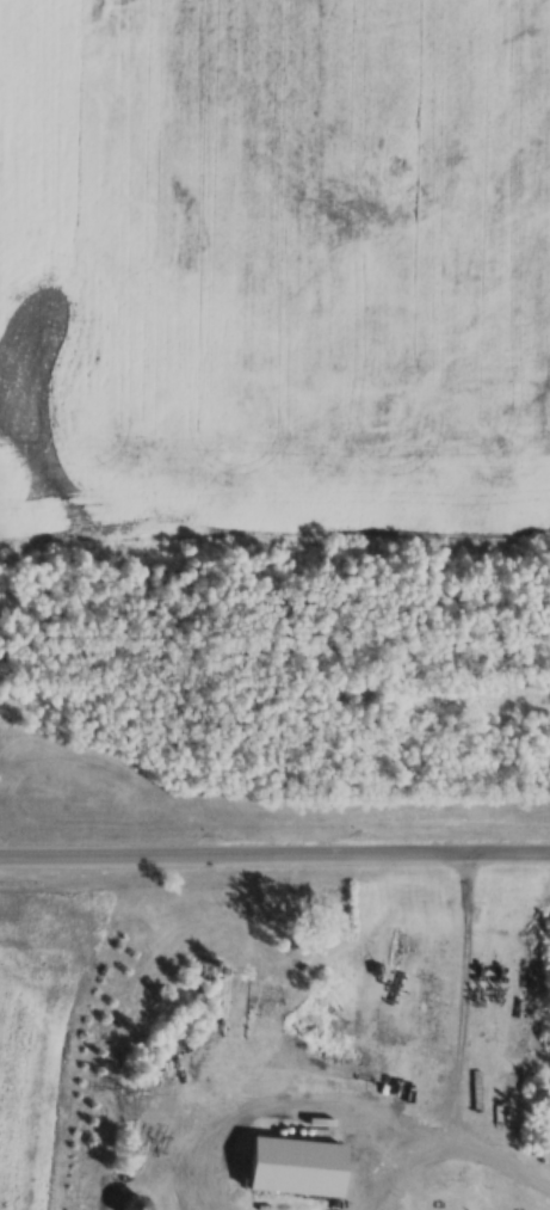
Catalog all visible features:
road: (274, 854)
building: (439, 1058)
road: (482, 1141)
building: (296, 1167)

